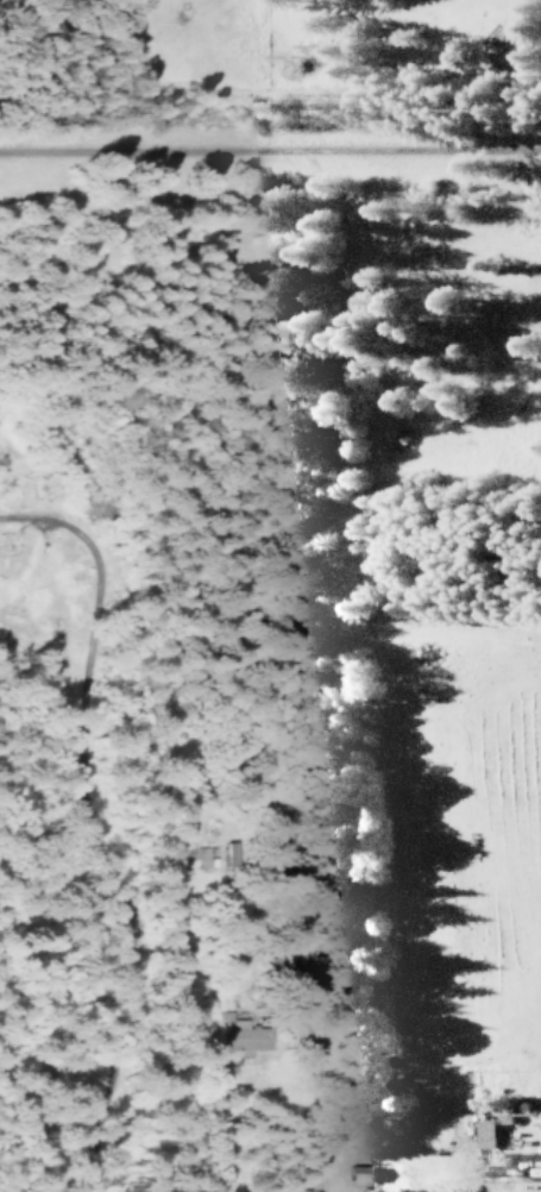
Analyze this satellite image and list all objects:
road: (270, 155)
building: (228, 854)
building: (191, 855)
road: (101, 890)
building: (243, 1036)
road: (315, 1110)
building: (485, 1133)
building: (360, 1172)

